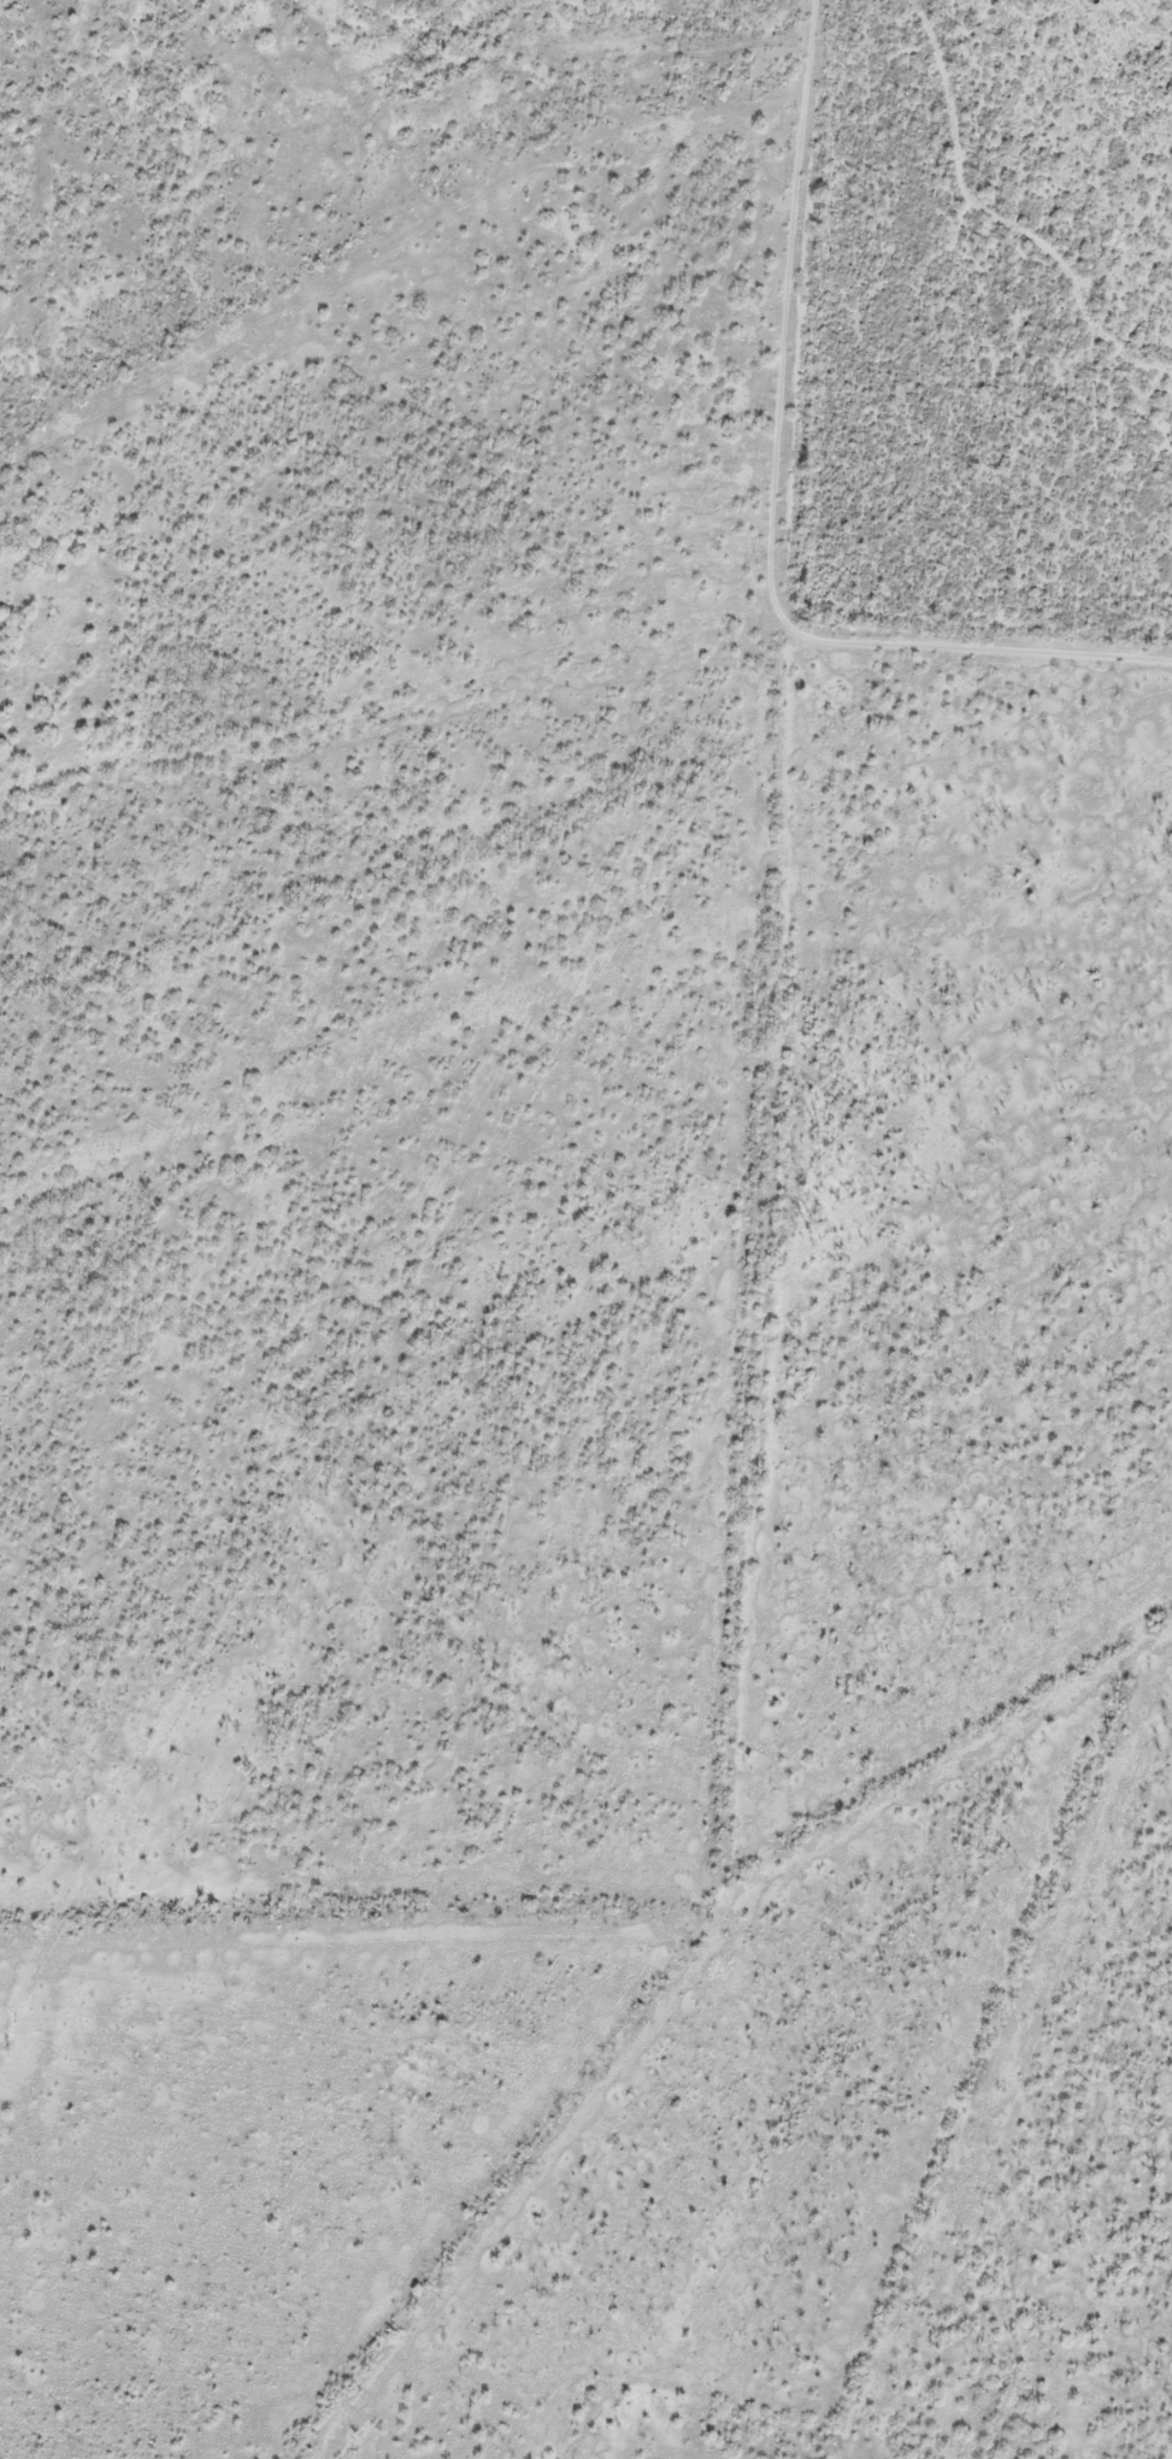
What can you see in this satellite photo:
road: (771, 508)

